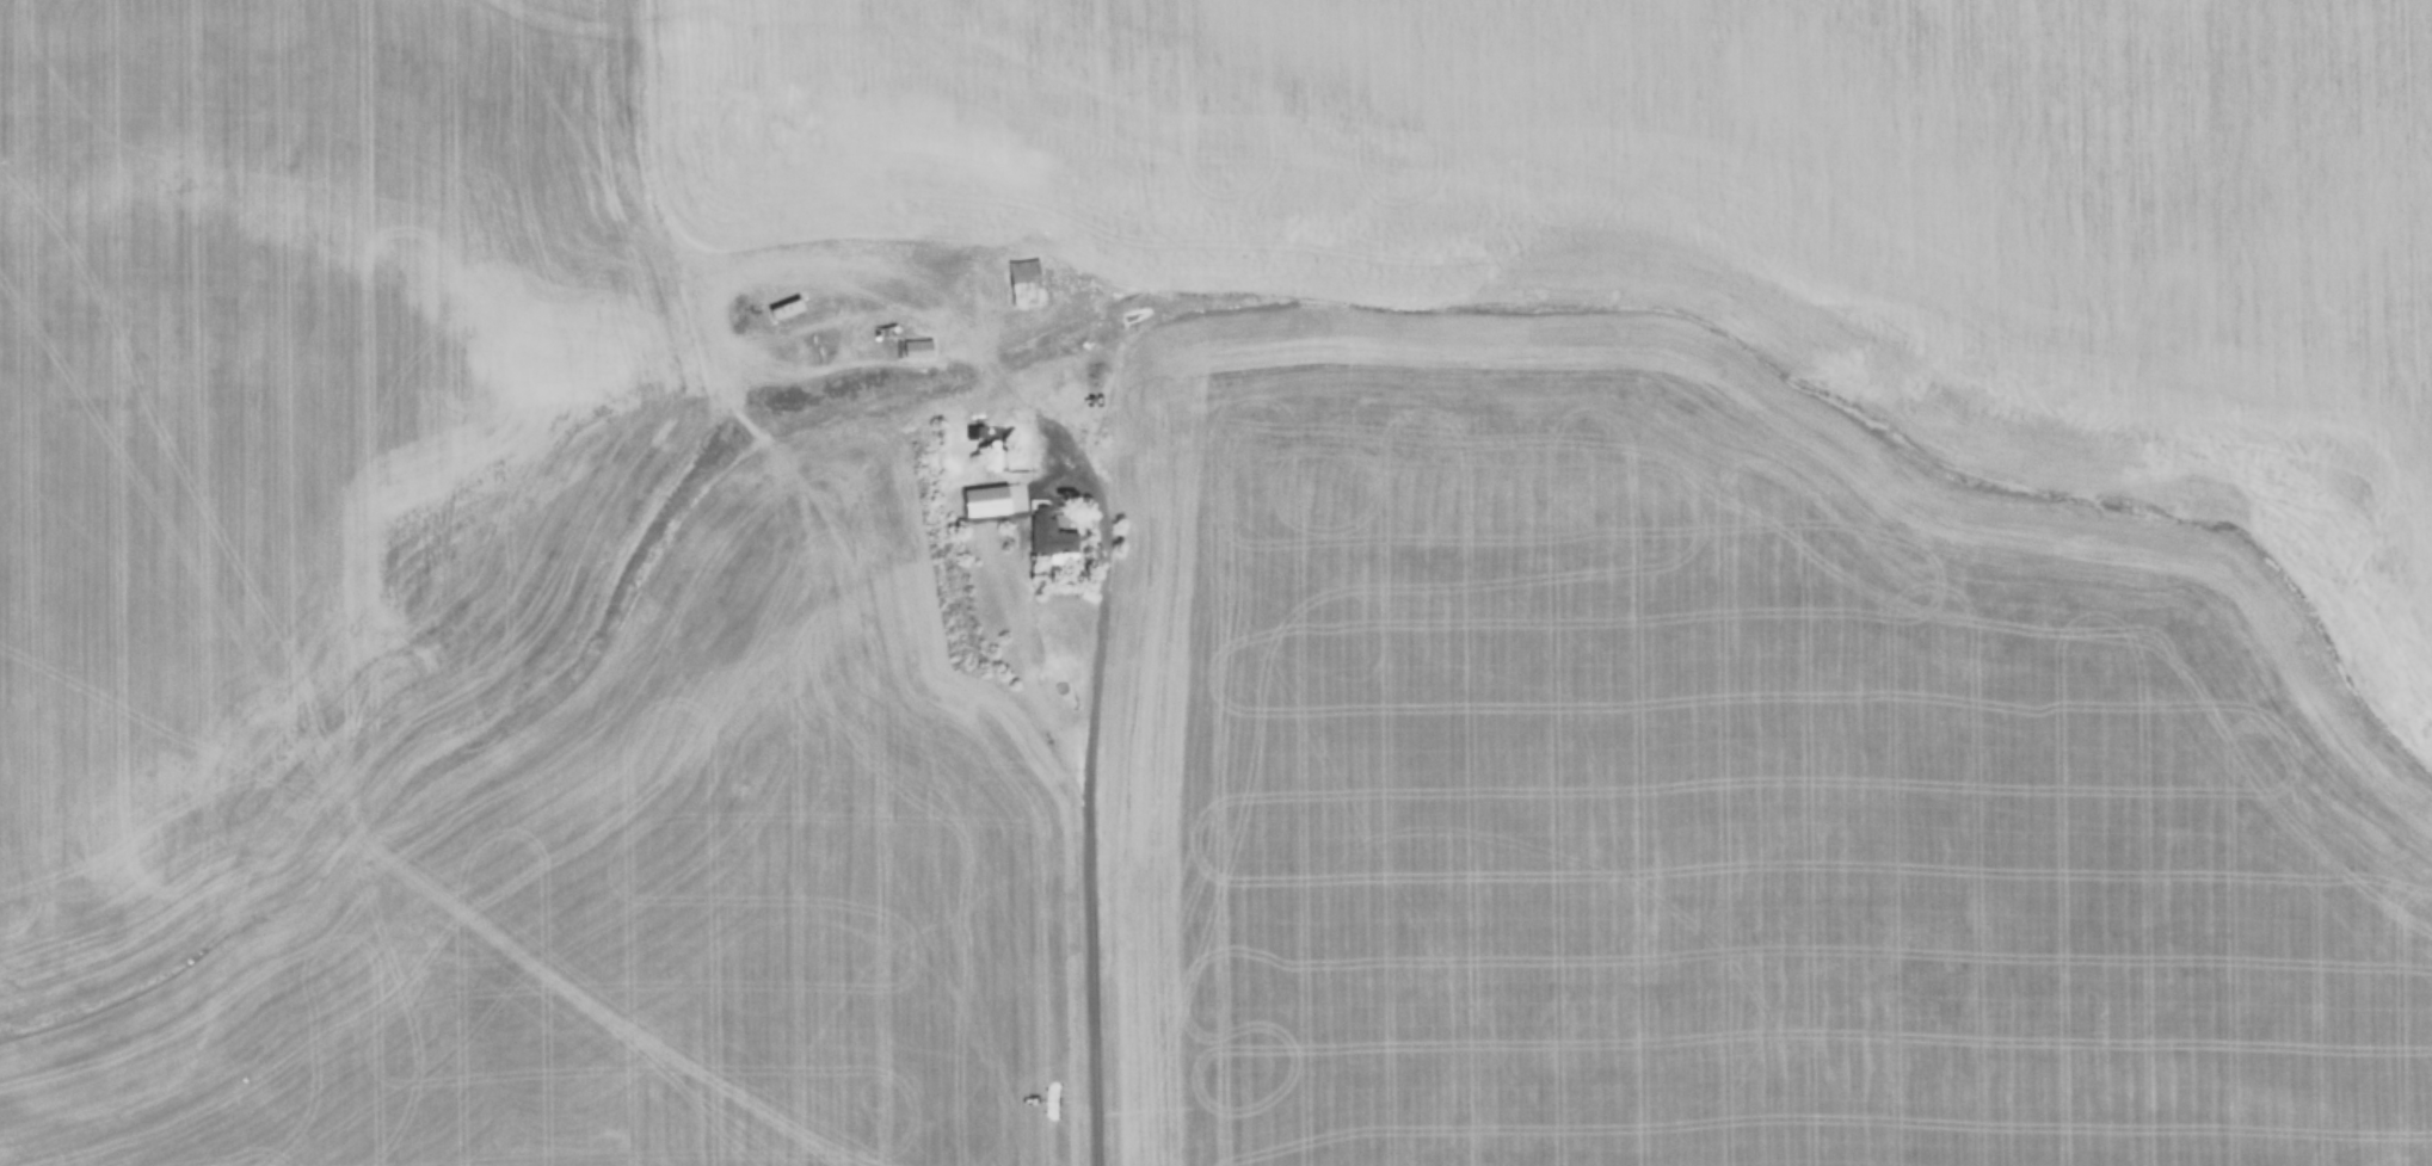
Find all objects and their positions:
building: (1028, 280)
building: (990, 500)
building: (1052, 533)
road: (1084, 820)

